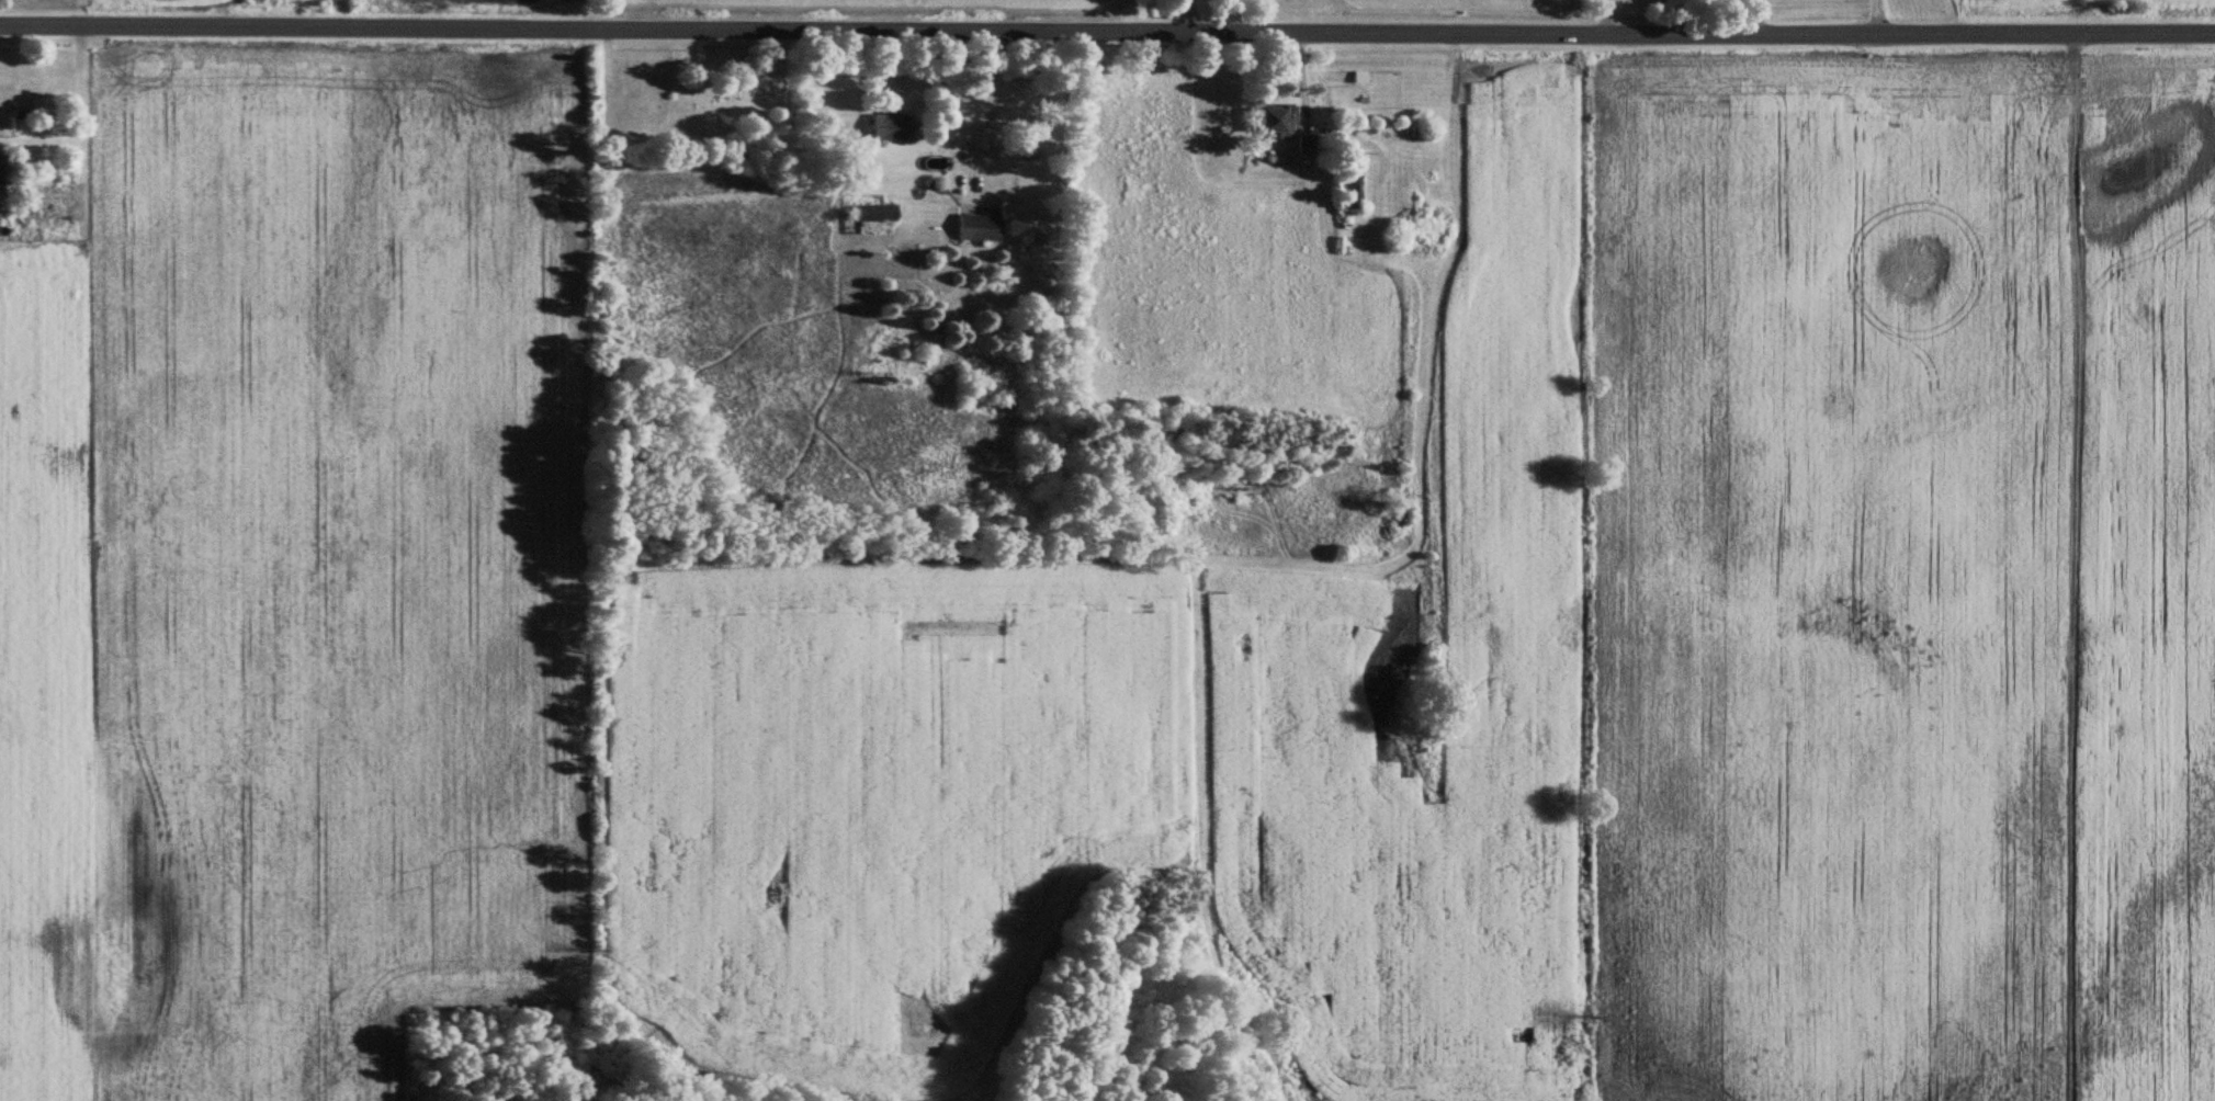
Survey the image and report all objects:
road: (1186, 19)
road: (1875, 20)
road: (1107, 36)
park: (696, 101)
building: (42, 111)
building: (1274, 124)
road: (967, 127)
building: (888, 129)
building: (4, 171)
building: (1347, 194)
building: (862, 216)
building: (977, 230)
road: (2076, 350)

